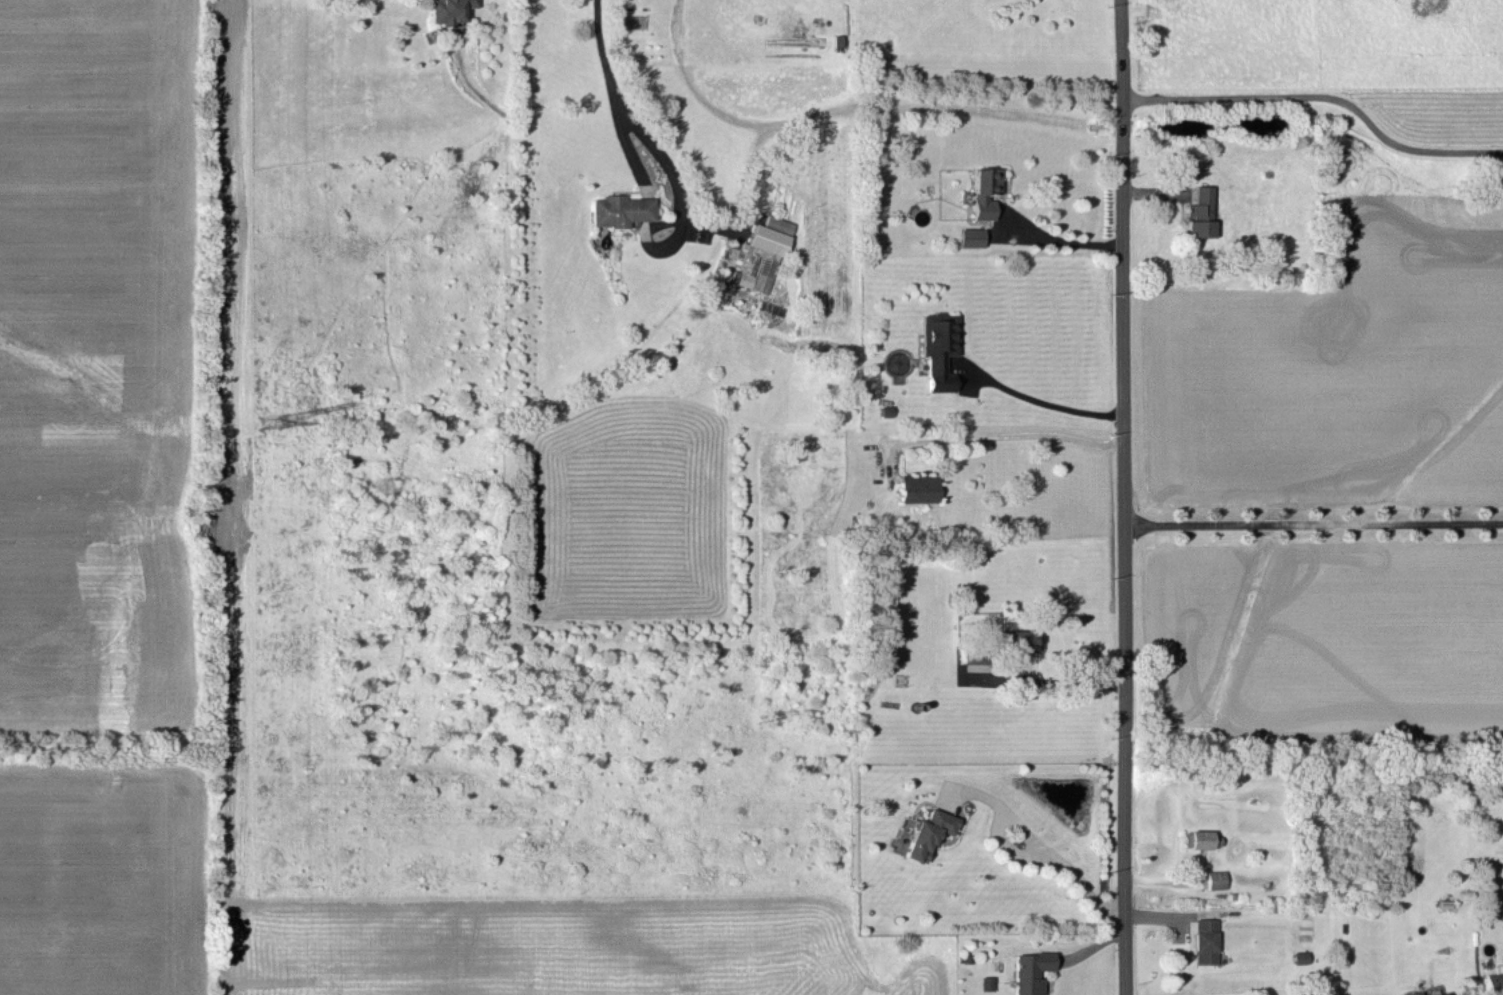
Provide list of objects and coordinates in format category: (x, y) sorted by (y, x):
building: (449, 10)
road: (609, 88)
road: (1320, 91)
building: (982, 191)
building: (619, 209)
building: (1198, 212)
building: (970, 236)
road: (1062, 240)
building: (761, 254)
building: (937, 347)
road: (1045, 404)
power tower: (268, 422)
road: (996, 435)
building: (916, 487)
road: (1126, 497)
road: (1314, 524)
building: (1021, 639)
road: (1047, 682)
building: (927, 833)
building: (1197, 838)
road: (1042, 848)
building: (1214, 878)
building: (1202, 940)
building: (1029, 971)
building: (1493, 978)
building: (984, 982)
building: (1412, 993)
building: (1436, 993)

